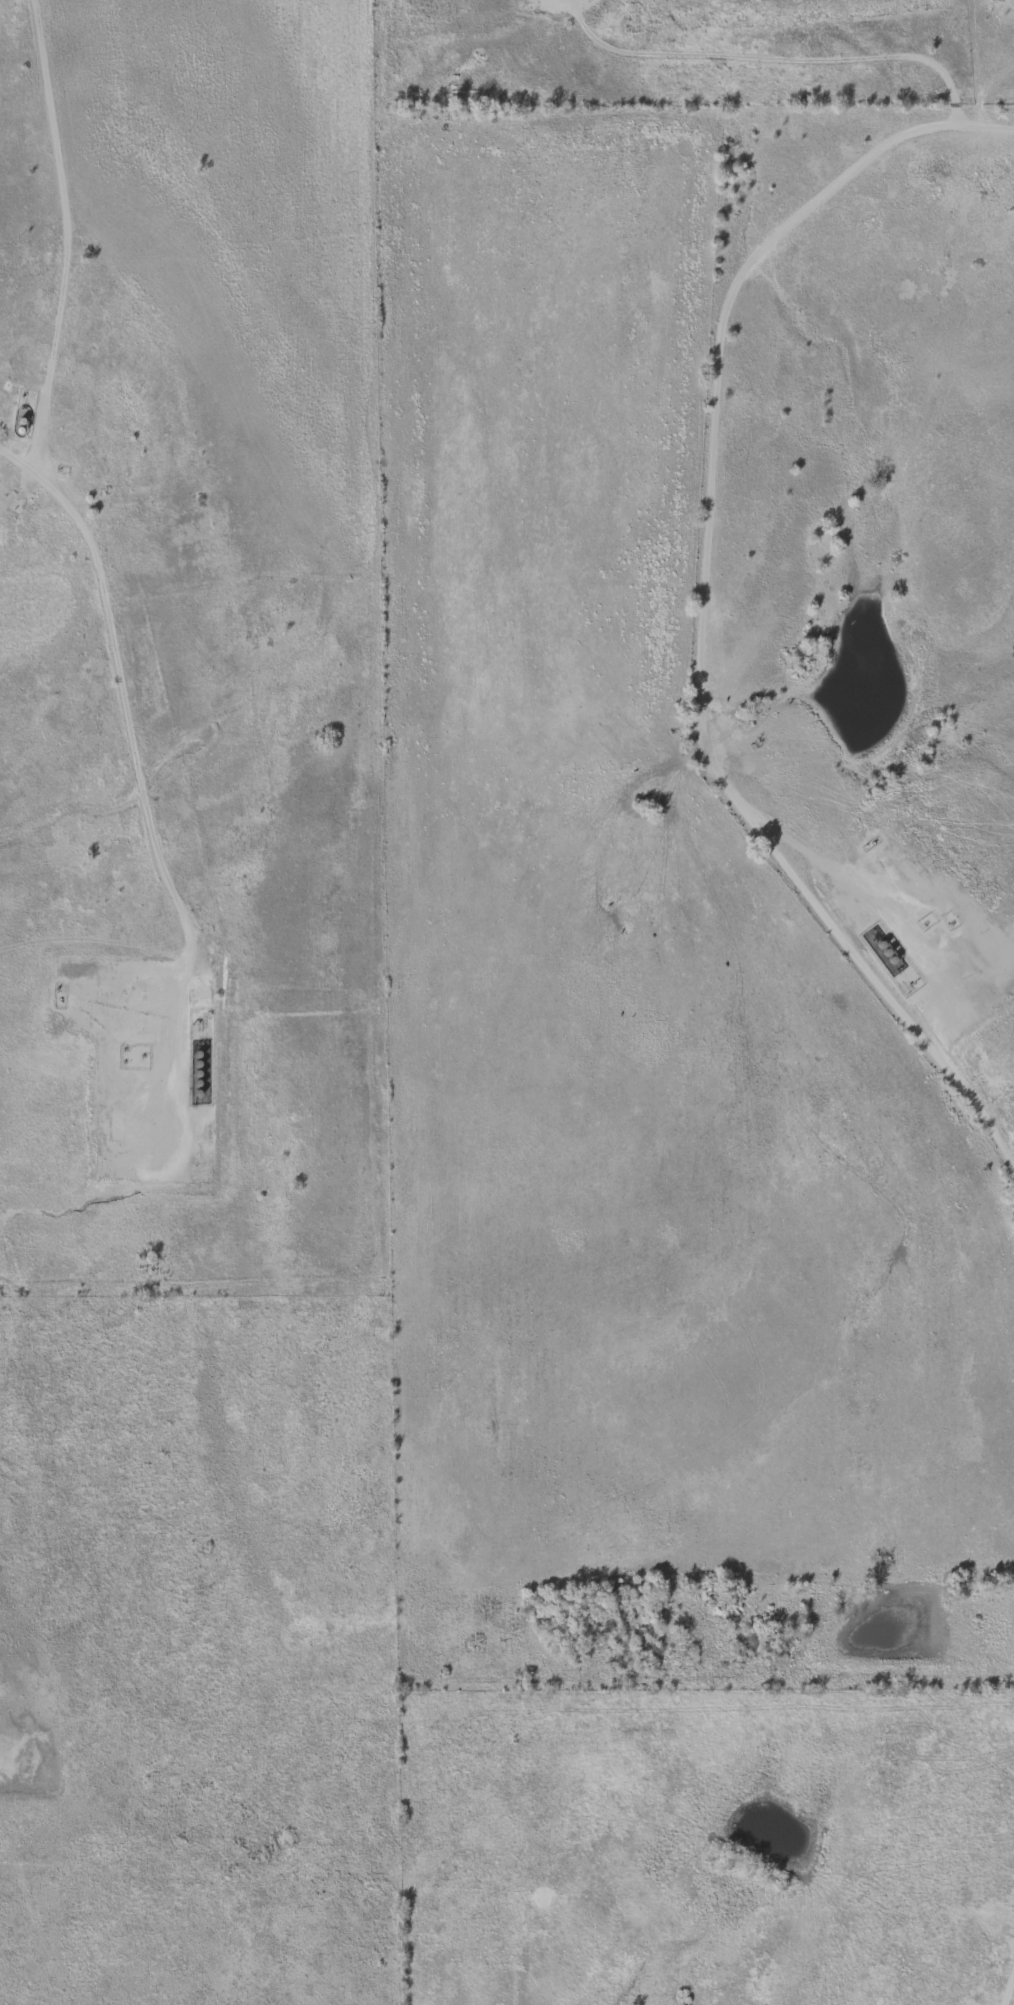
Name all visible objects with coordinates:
road: (772, 58)
road: (62, 248)
road: (700, 608)
road: (128, 724)
road: (1008, 1987)

